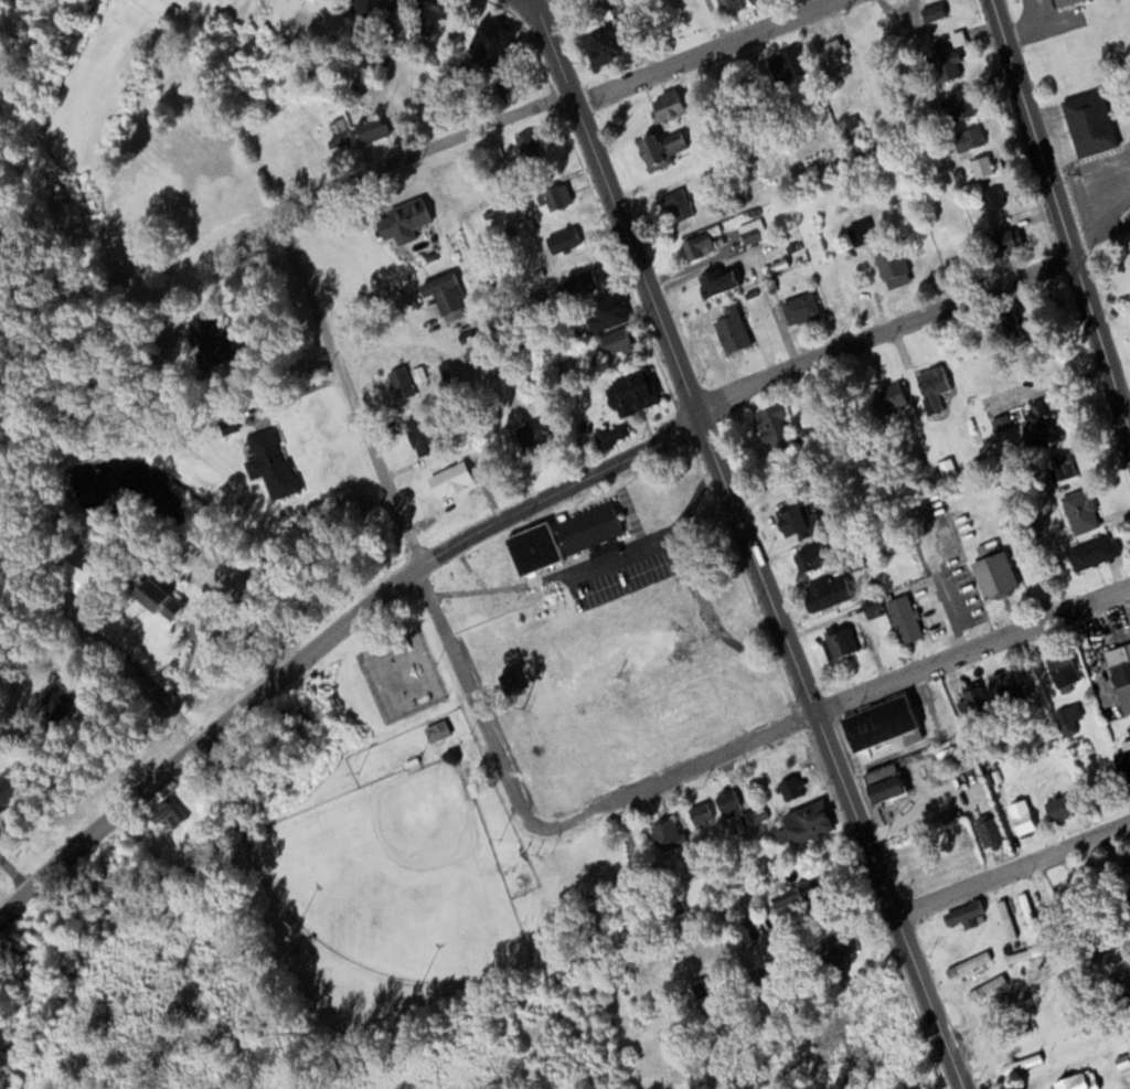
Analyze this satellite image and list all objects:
road: (533, 0)
building: (317, 1)
building: (1062, 1)
building: (728, 6)
building: (364, 8)
building: (932, 11)
building: (425, 18)
building: (865, 35)
building: (491, 41)
road: (706, 51)
building: (603, 52)
building: (832, 53)
building: (945, 61)
building: (786, 63)
building: (960, 103)
building: (665, 106)
building: (1088, 121)
building: (370, 128)
building: (338, 130)
building: (968, 138)
building: (526, 147)
building: (660, 148)
road: (420, 150)
building: (981, 166)
building: (553, 196)
building: (991, 197)
building: (676, 204)
road: (1059, 216)
building: (401, 217)
building: (578, 227)
building: (1004, 239)
building: (695, 246)
building: (892, 266)
building: (716, 280)
building: (444, 295)
building: (799, 308)
building: (601, 311)
building: (1011, 320)
building: (731, 330)
road: (883, 333)
building: (206, 337)
building: (614, 341)
building: (403, 387)
building: (931, 387)
building: (632, 391)
building: (887, 397)
building: (1037, 421)
building: (774, 426)
building: (533, 431)
building: (270, 460)
building: (449, 478)
building: (1079, 510)
road: (406, 526)
building: (793, 527)
building: (590, 531)
road: (748, 544)
building: (532, 547)
building: (1089, 552)
building: (808, 558)
building: (993, 573)
building: (75, 575)
building: (825, 591)
building: (147, 592)
building: (960, 592)
building: (904, 618)
road: (329, 634)
road: (102, 637)
building: (838, 642)
road: (972, 648)
building: (1127, 649)
building: (1062, 670)
building: (509, 682)
building: (1003, 684)
building: (1121, 684)
building: (973, 697)
building: (56, 705)
building: (1067, 718)
building: (684, 723)
building: (882, 724)
building: (437, 729)
building: (1123, 765)
road: (674, 773)
building: (932, 779)
building: (789, 787)
building: (883, 787)
building: (6, 790)
building: (726, 801)
building: (1057, 808)
building: (699, 813)
building: (1021, 816)
building: (807, 821)
building: (985, 831)
building: (665, 835)
road: (1012, 868)
road: (1033, 904)
building: (1126, 904)
building: (962, 914)
building: (1006, 918)
building: (1020, 954)
building: (831, 955)
building: (968, 963)
building: (985, 987)
building: (1123, 991)
building: (1022, 1063)
building: (1074, 1081)

